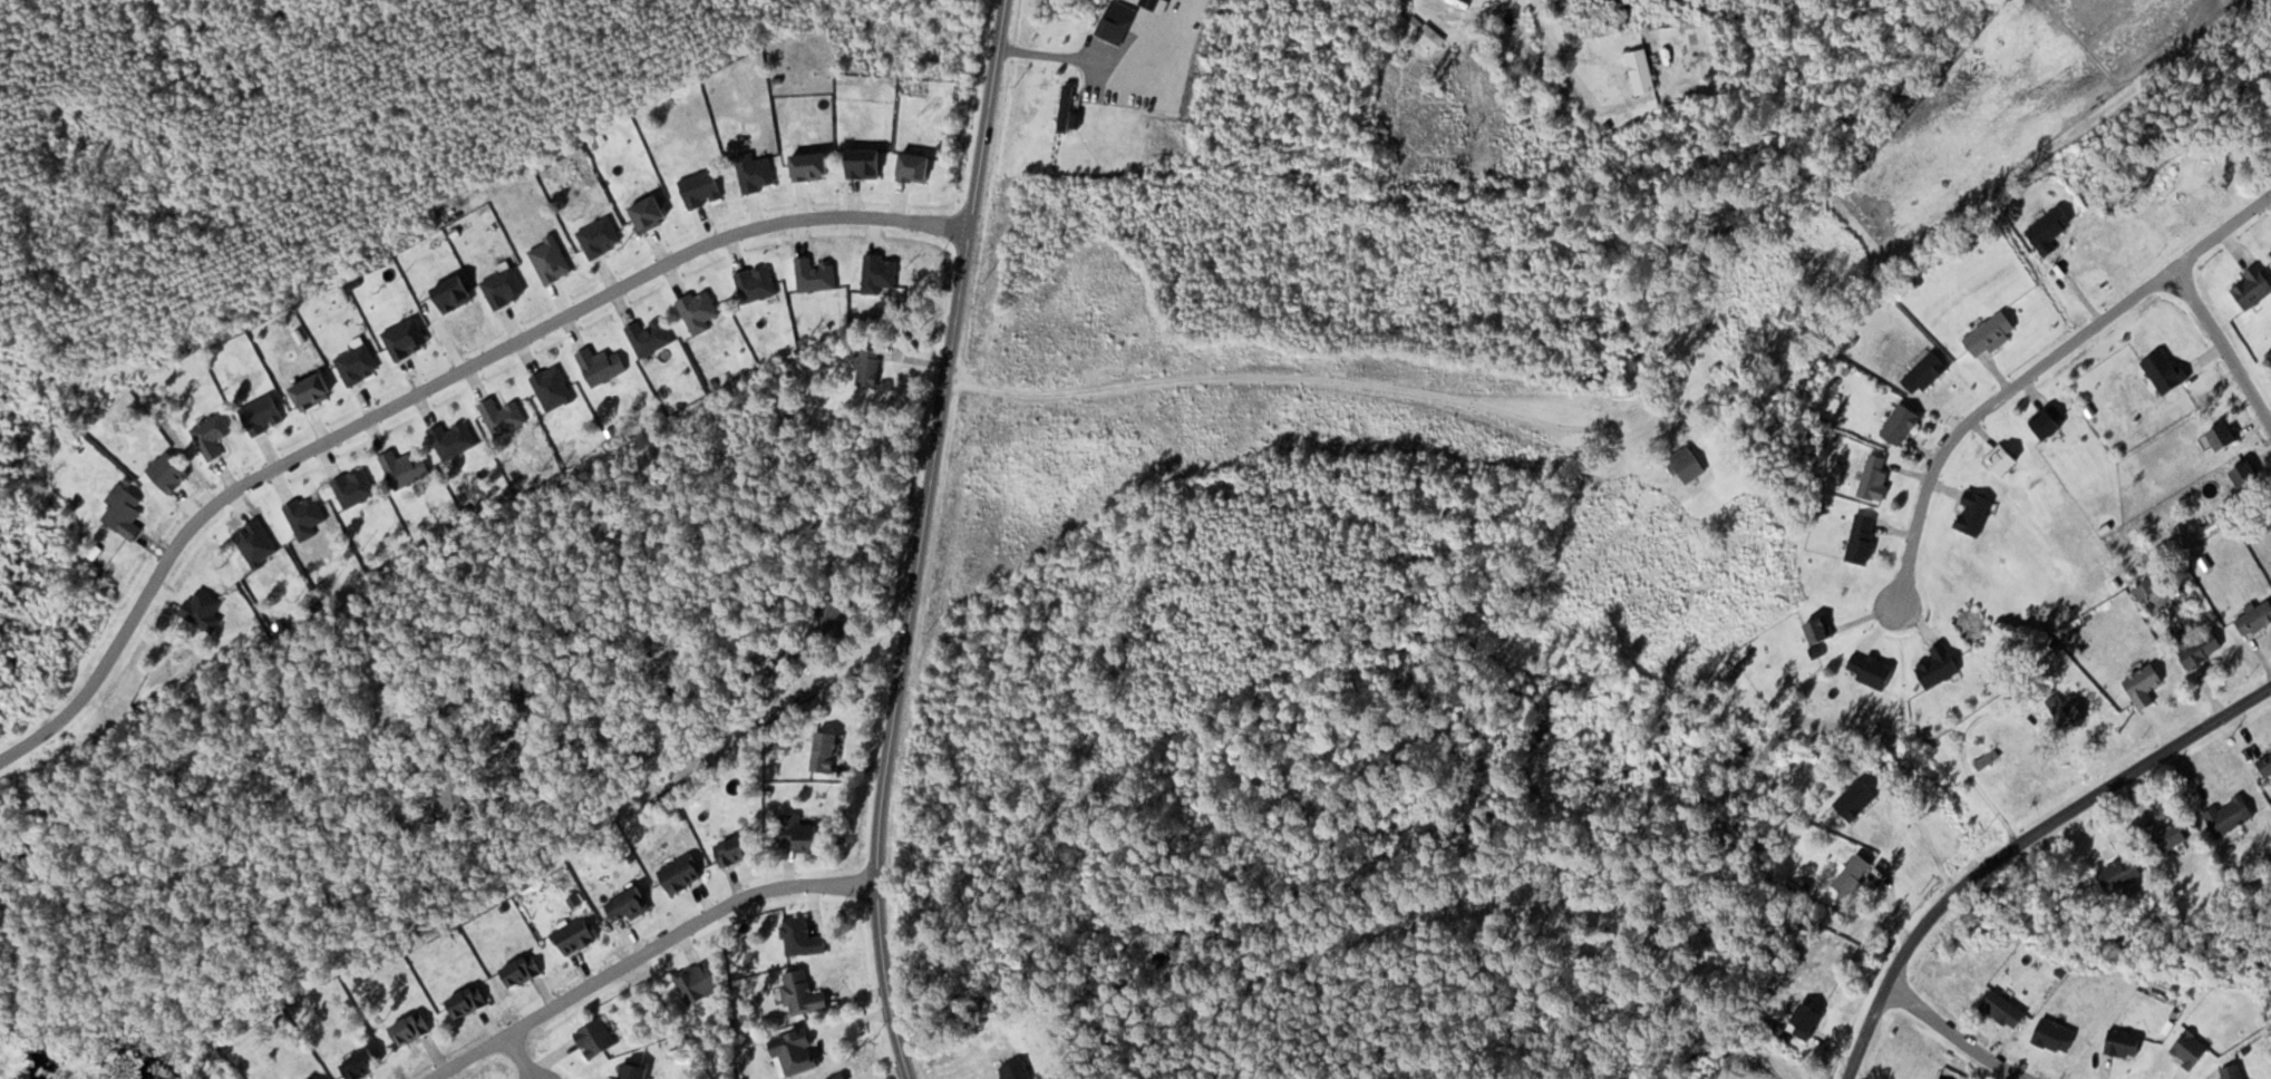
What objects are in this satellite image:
building: (1431, 37)
road: (1562, 55)
building: (1642, 69)
building: (1067, 107)
crop: (1995, 124)
building: (2051, 229)
building: (2254, 286)
building: (1991, 333)
road: (2223, 344)
building: (870, 367)
road: (2037, 368)
building: (2166, 370)
building: (1927, 373)
road: (1258, 376)
road: (425, 387)
building: (2049, 422)
building: (1902, 424)
building: (2225, 436)
building: (2005, 459)
building: (1689, 463)
building: (2249, 475)
building: (1876, 478)
building: (1976, 513)
building: (1864, 538)
road: (923, 539)
road: (746, 573)
building: (2258, 616)
building: (836, 621)
building: (1822, 631)
building: (2201, 647)
building: (1940, 665)
building: (2145, 686)
building: (523, 696)
building: (2068, 709)
building: (827, 751)
building: (2265, 764)
building: (452, 799)
building: (1857, 799)
building: (2231, 815)
building: (799, 834)
building: (2174, 835)
road: (2018, 844)
building: (736, 849)
building: (682, 873)
building: (2122, 873)
building: (1854, 875)
building: (629, 905)
building: (575, 935)
road: (640, 953)
building: (523, 971)
building: (803, 994)
building: (468, 1002)
building: (2006, 1010)
building: (1807, 1022)
building: (411, 1029)
road: (1955, 1036)
building: (596, 1039)
building: (2126, 1043)
building: (2192, 1049)
road: (518, 1056)
building: (362, 1065)
building: (1018, 1070)
building: (634, 1071)
building: (2234, 1072)
building: (837, 1076)

